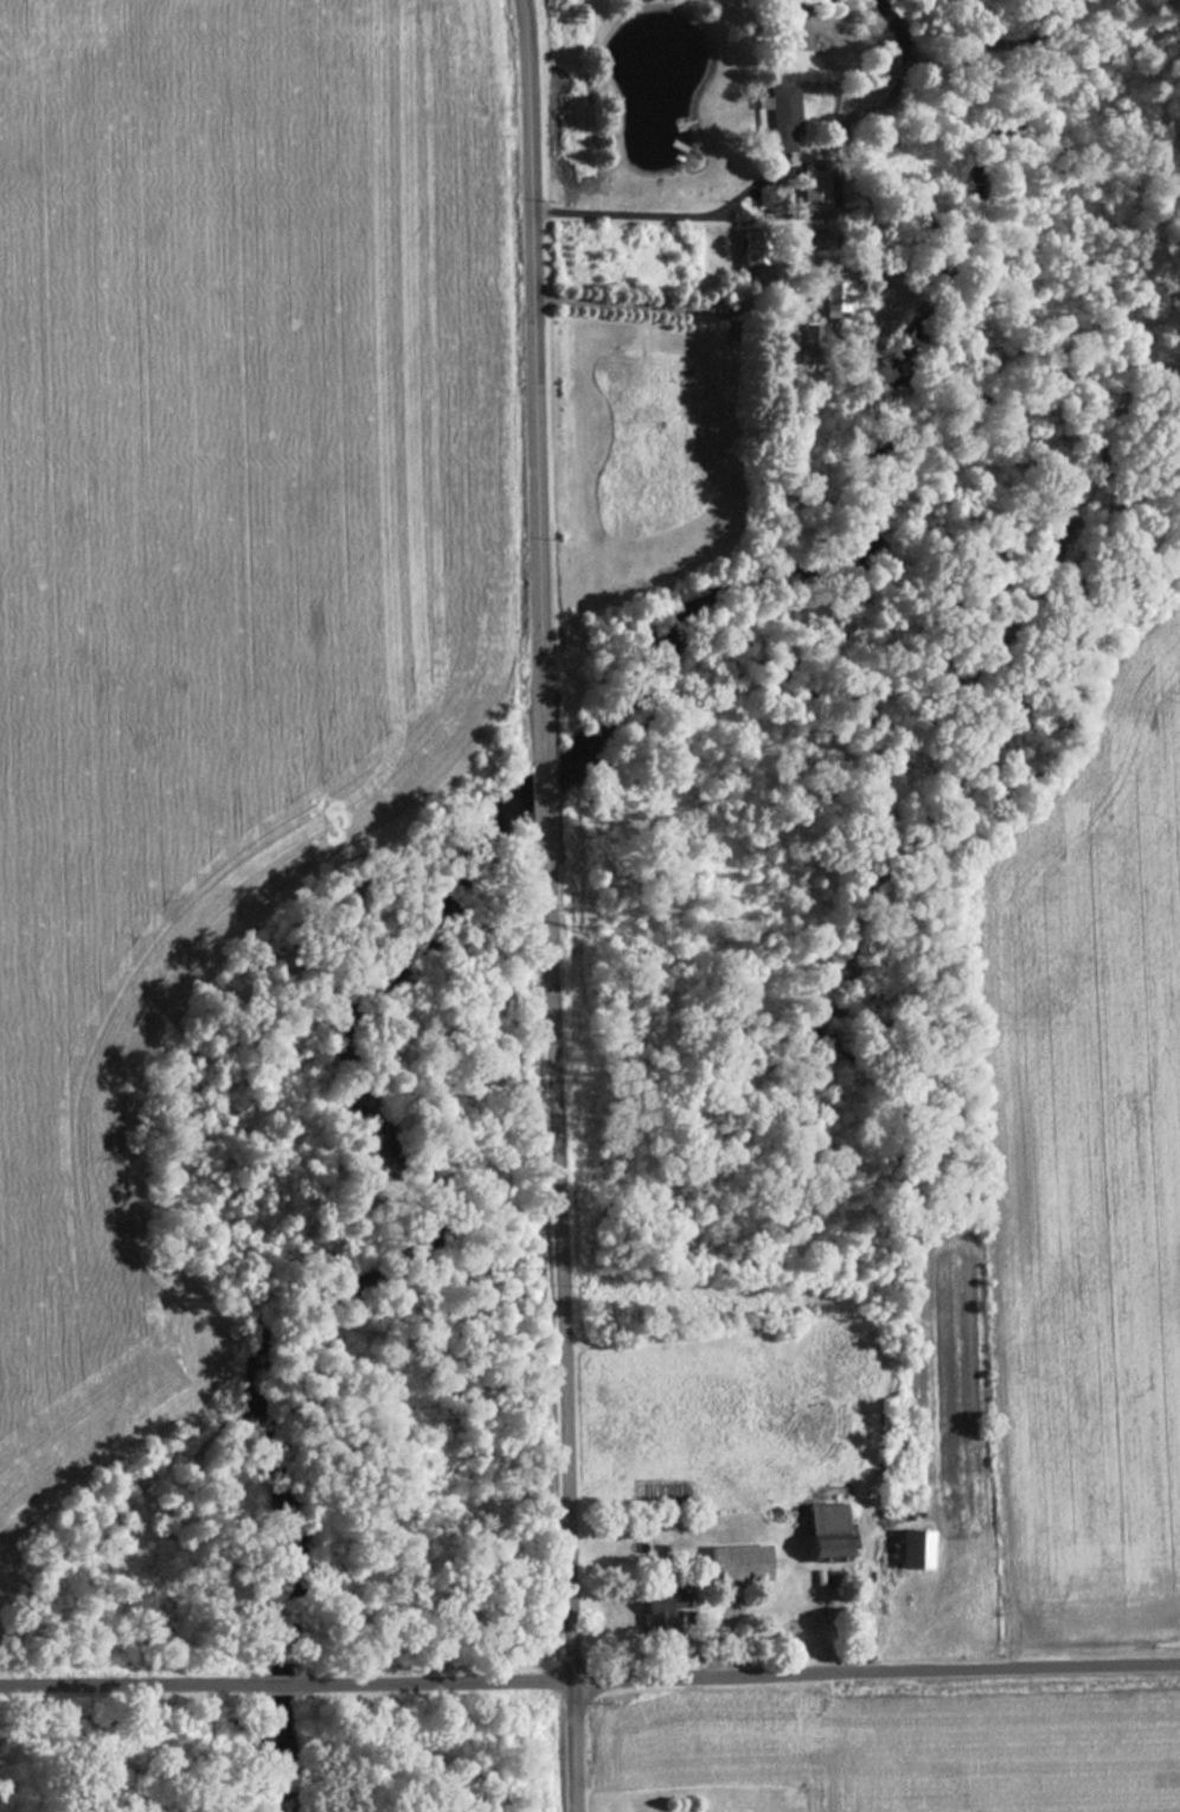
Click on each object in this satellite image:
building: (775, 115)
building: (813, 190)
road: (627, 215)
building: (829, 301)
road: (634, 305)
crop: (214, 557)
road: (551, 905)
crop: (1090, 1139)
building: (821, 1534)
building: (910, 1551)
building: (733, 1564)
building: (662, 1611)
road: (590, 1679)
crop: (909, 1749)

